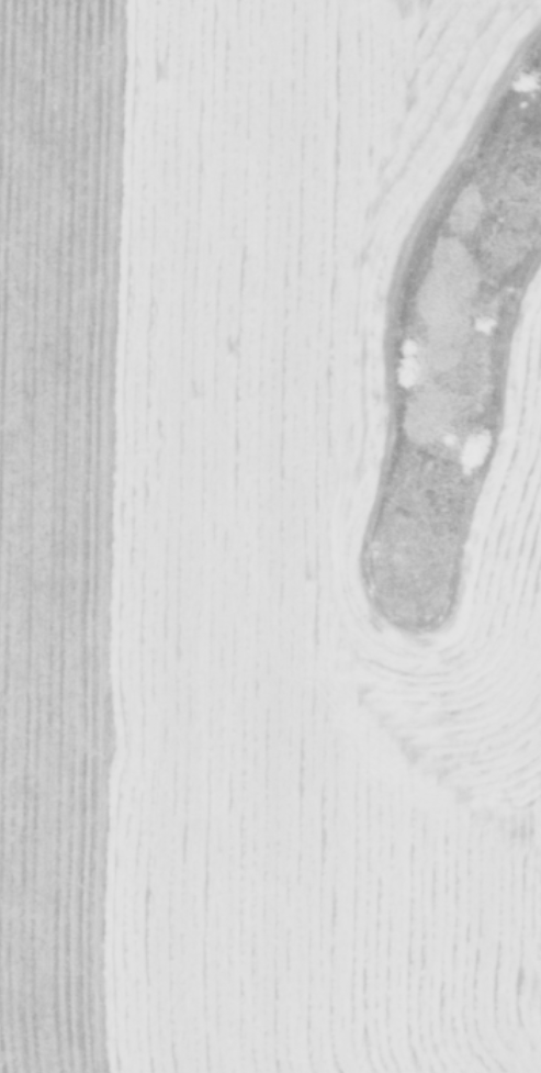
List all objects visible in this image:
crop: (270, 536)

